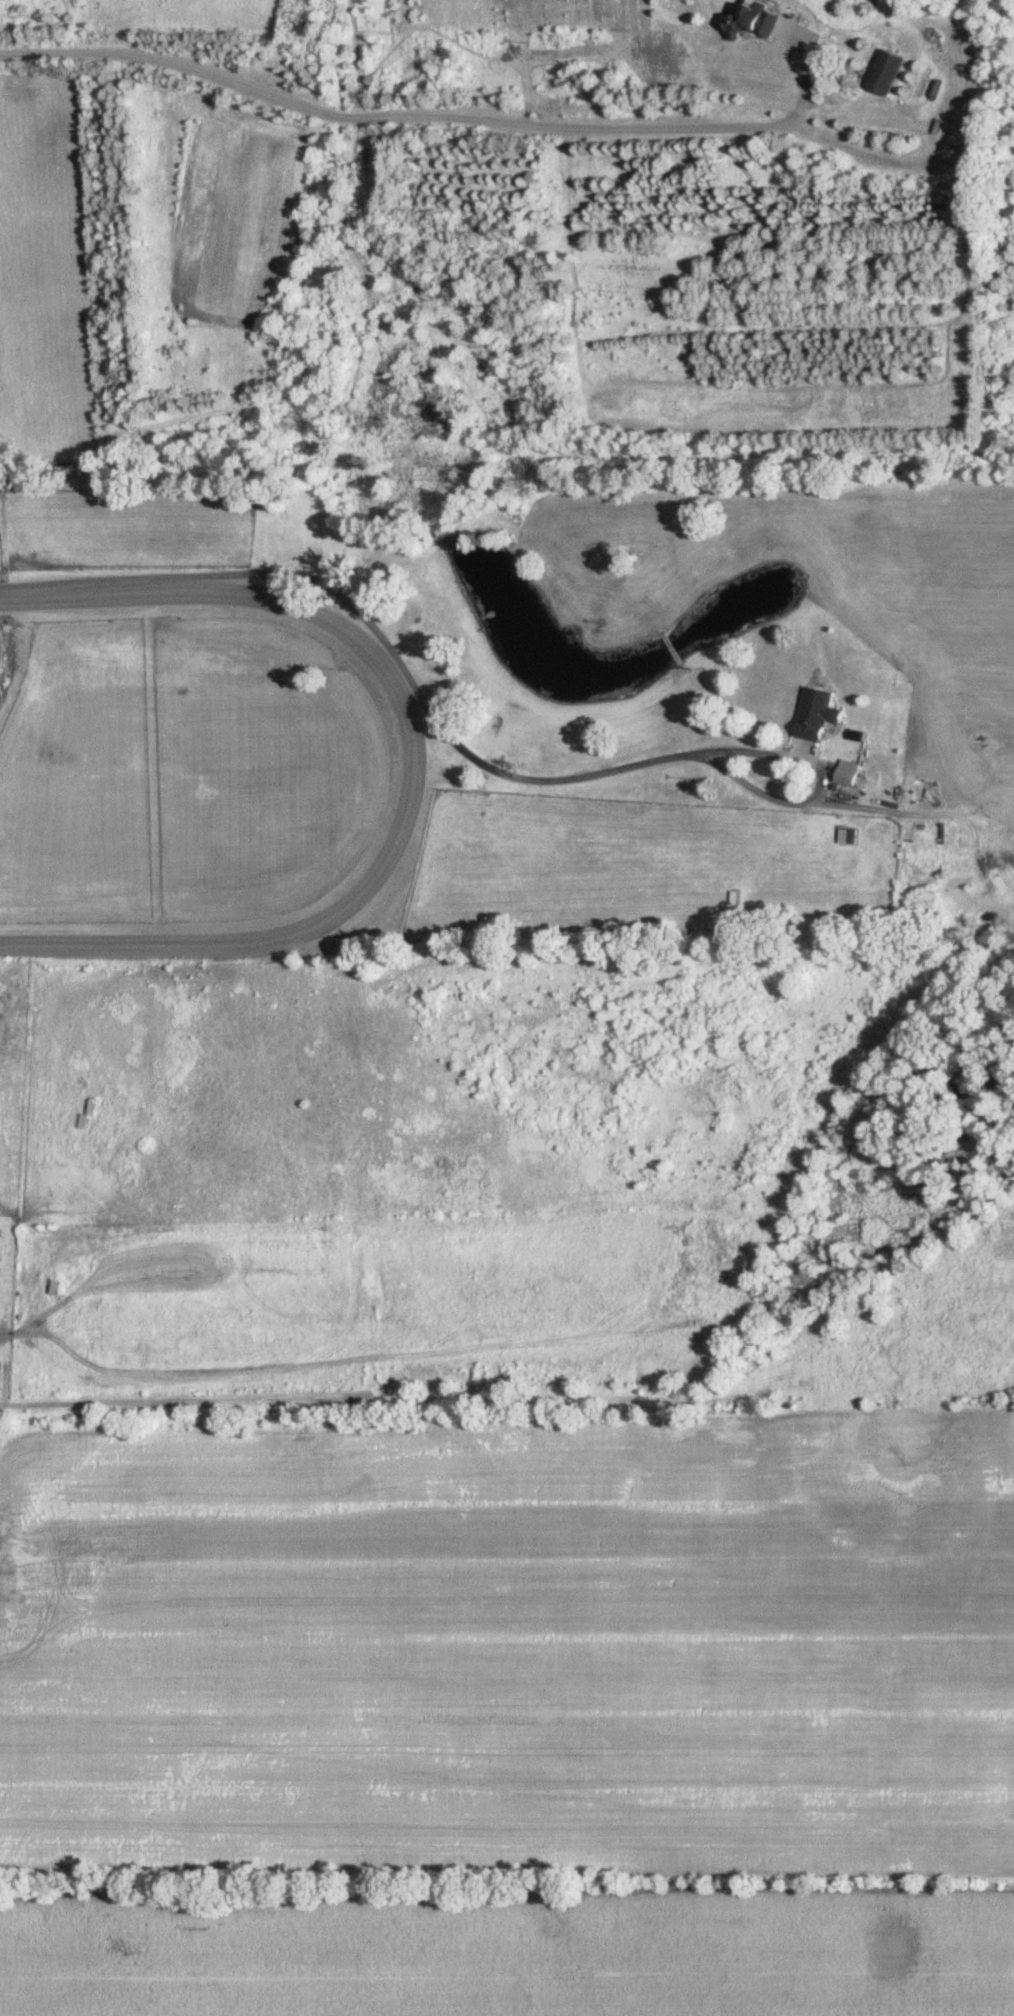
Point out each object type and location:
building: (751, 20)
building: (884, 73)
road: (802, 83)
road: (380, 117)
road: (420, 692)
building: (815, 713)
track: (191, 767)
road: (826, 801)

